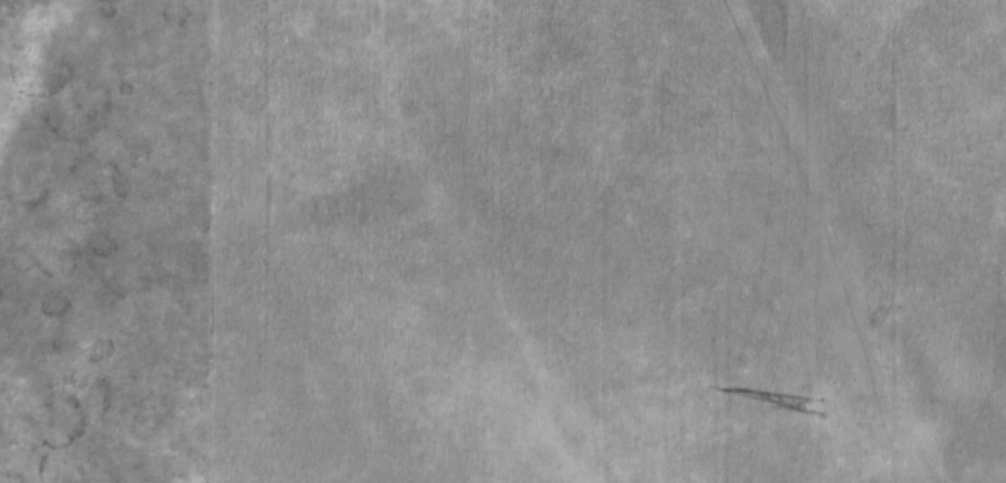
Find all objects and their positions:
power tower: (812, 408)

